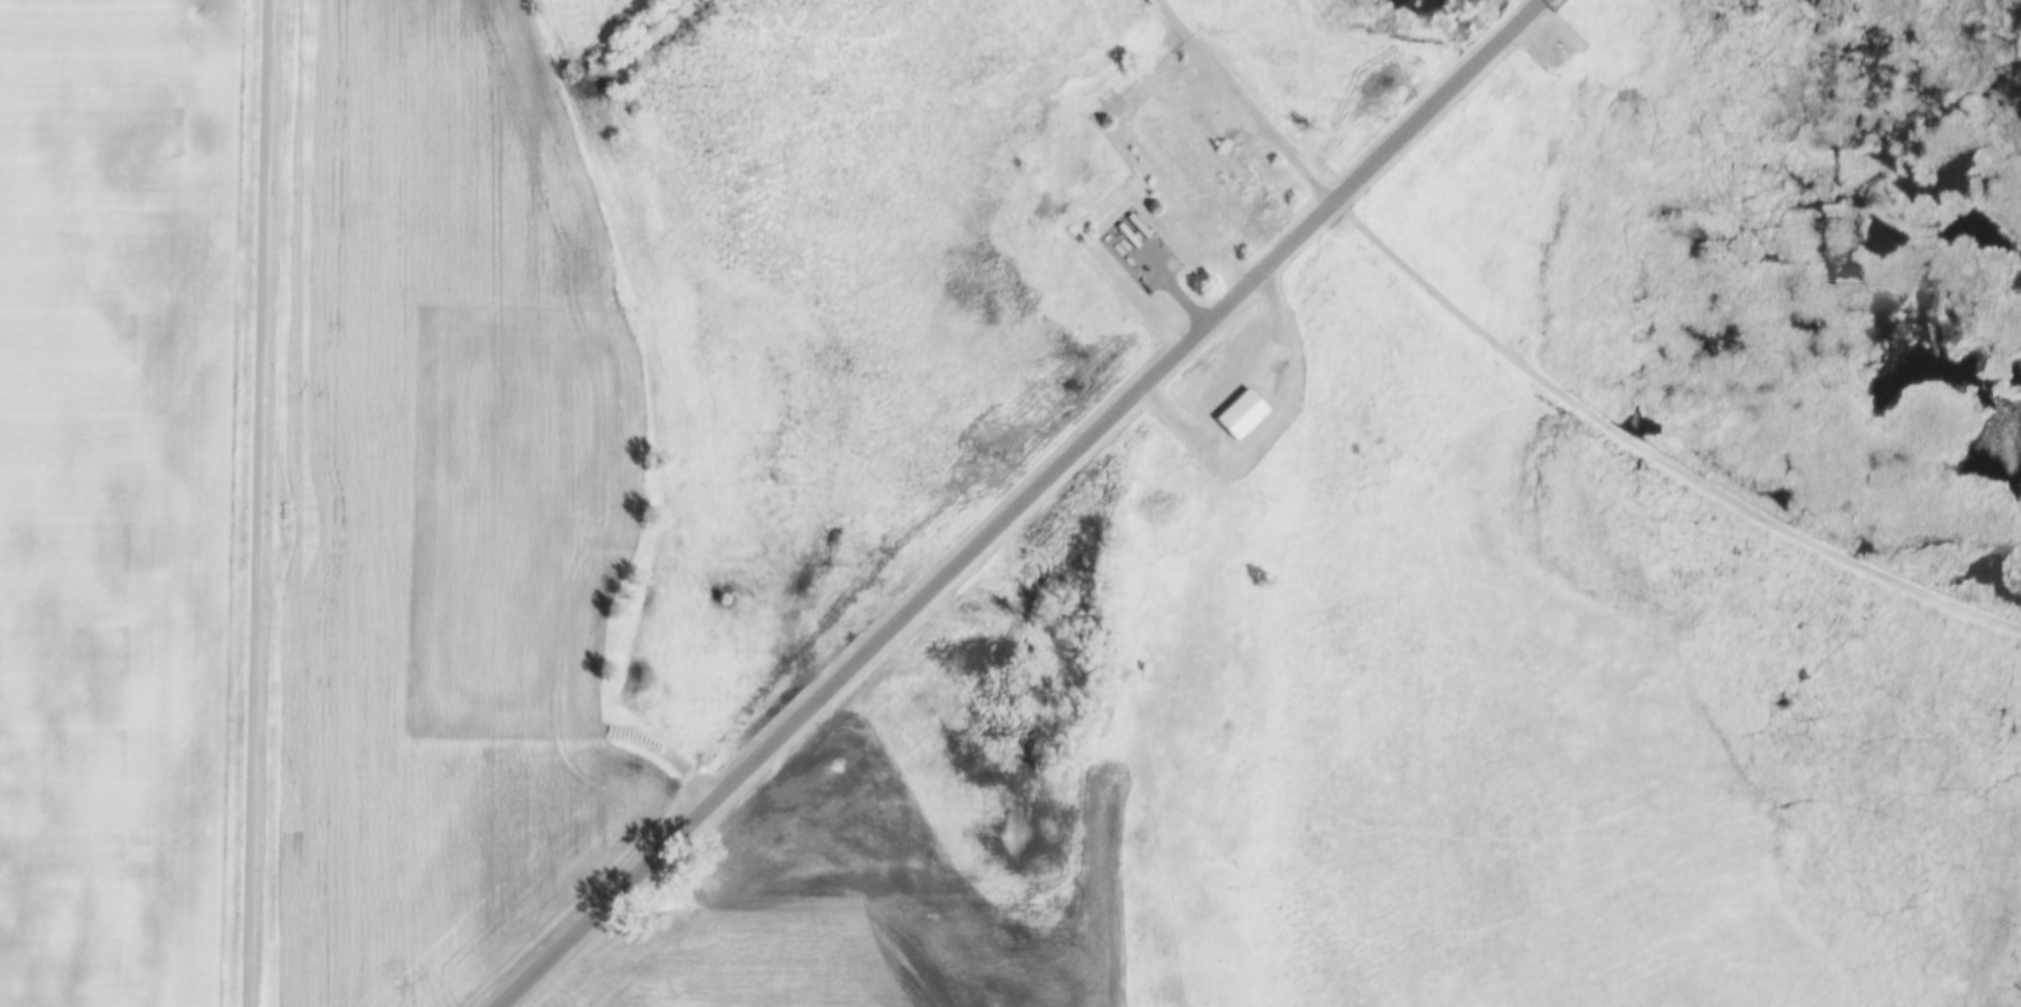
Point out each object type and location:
building: (434, 135)
parking lot: (1144, 251)
road: (1550, 377)
building: (1244, 414)
road: (1018, 498)
road: (258, 503)

